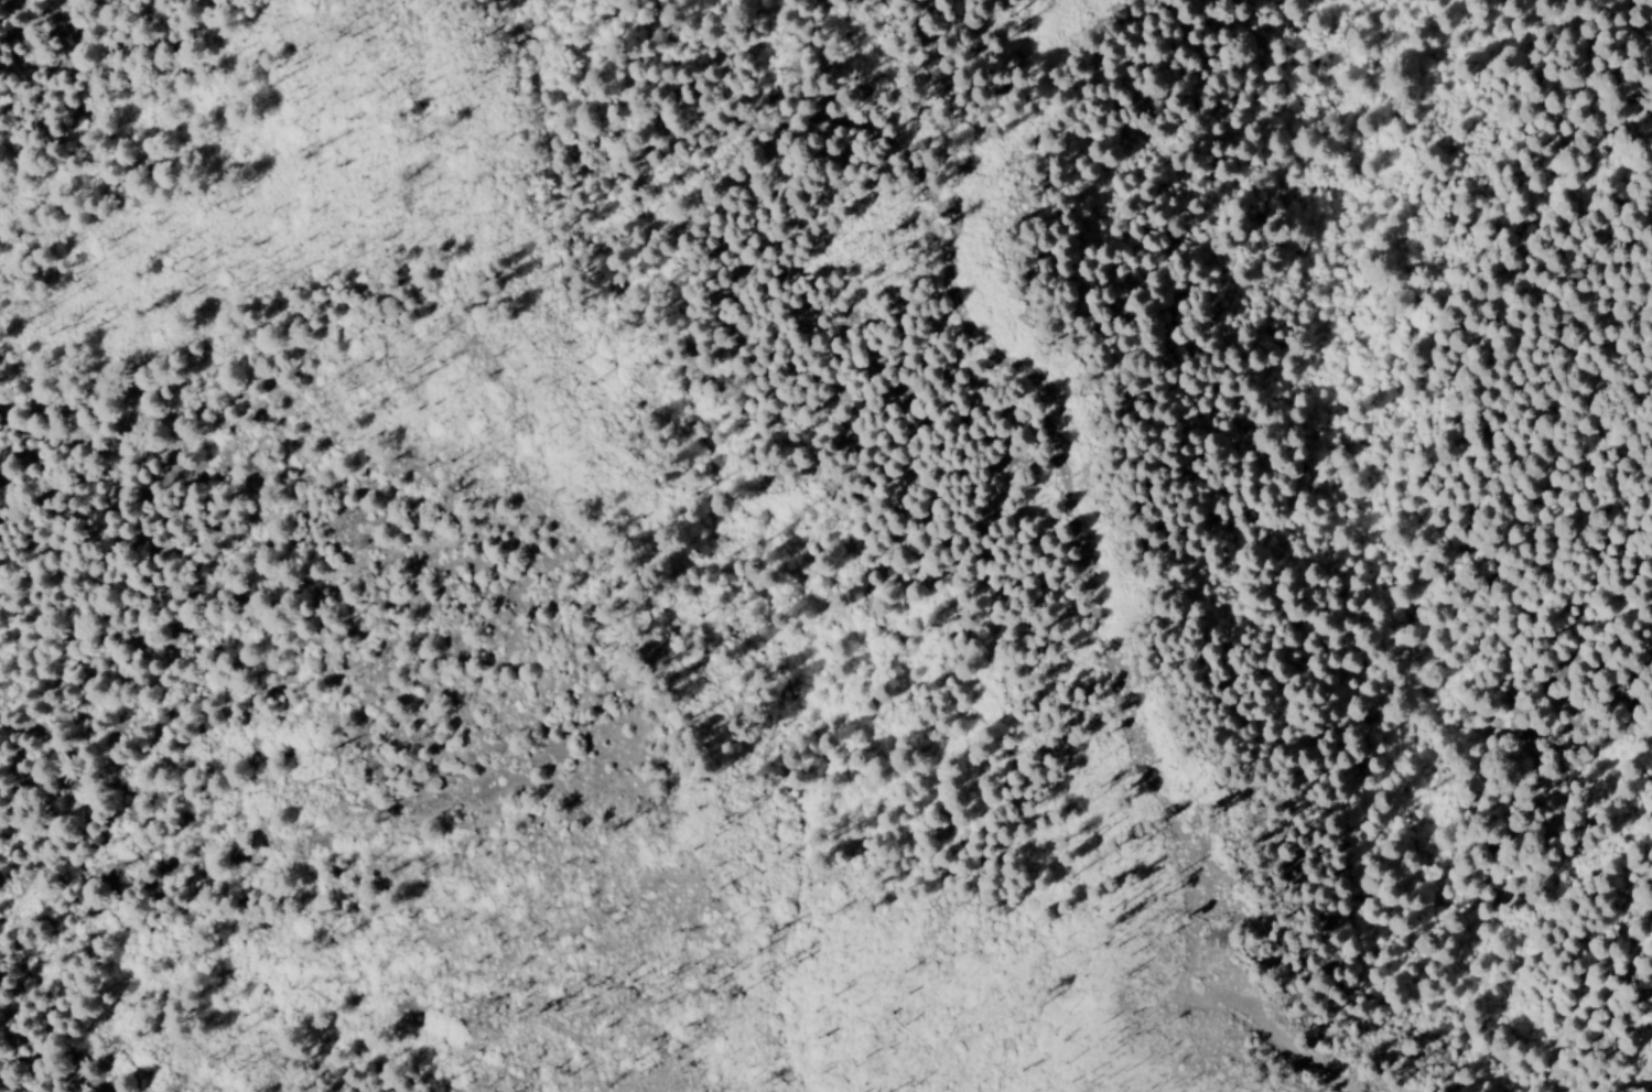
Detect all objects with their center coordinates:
road: (1297, 1057)

